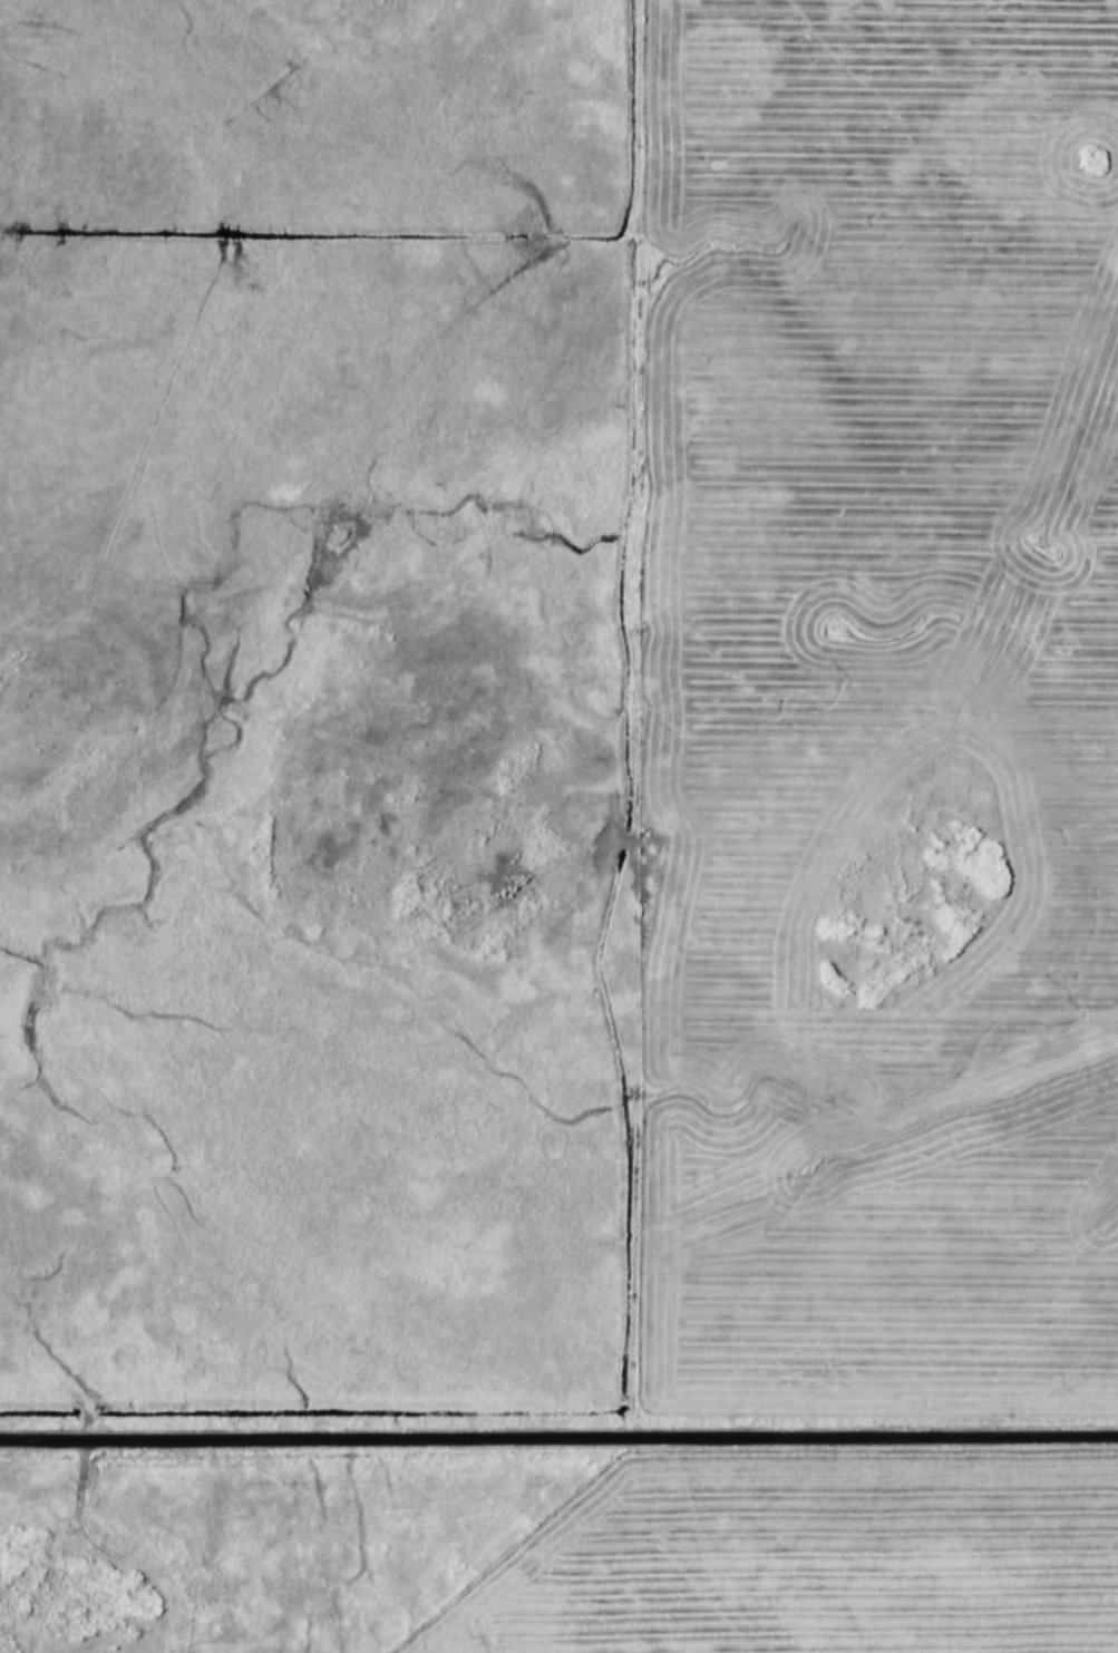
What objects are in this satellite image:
road: (558, 1438)

